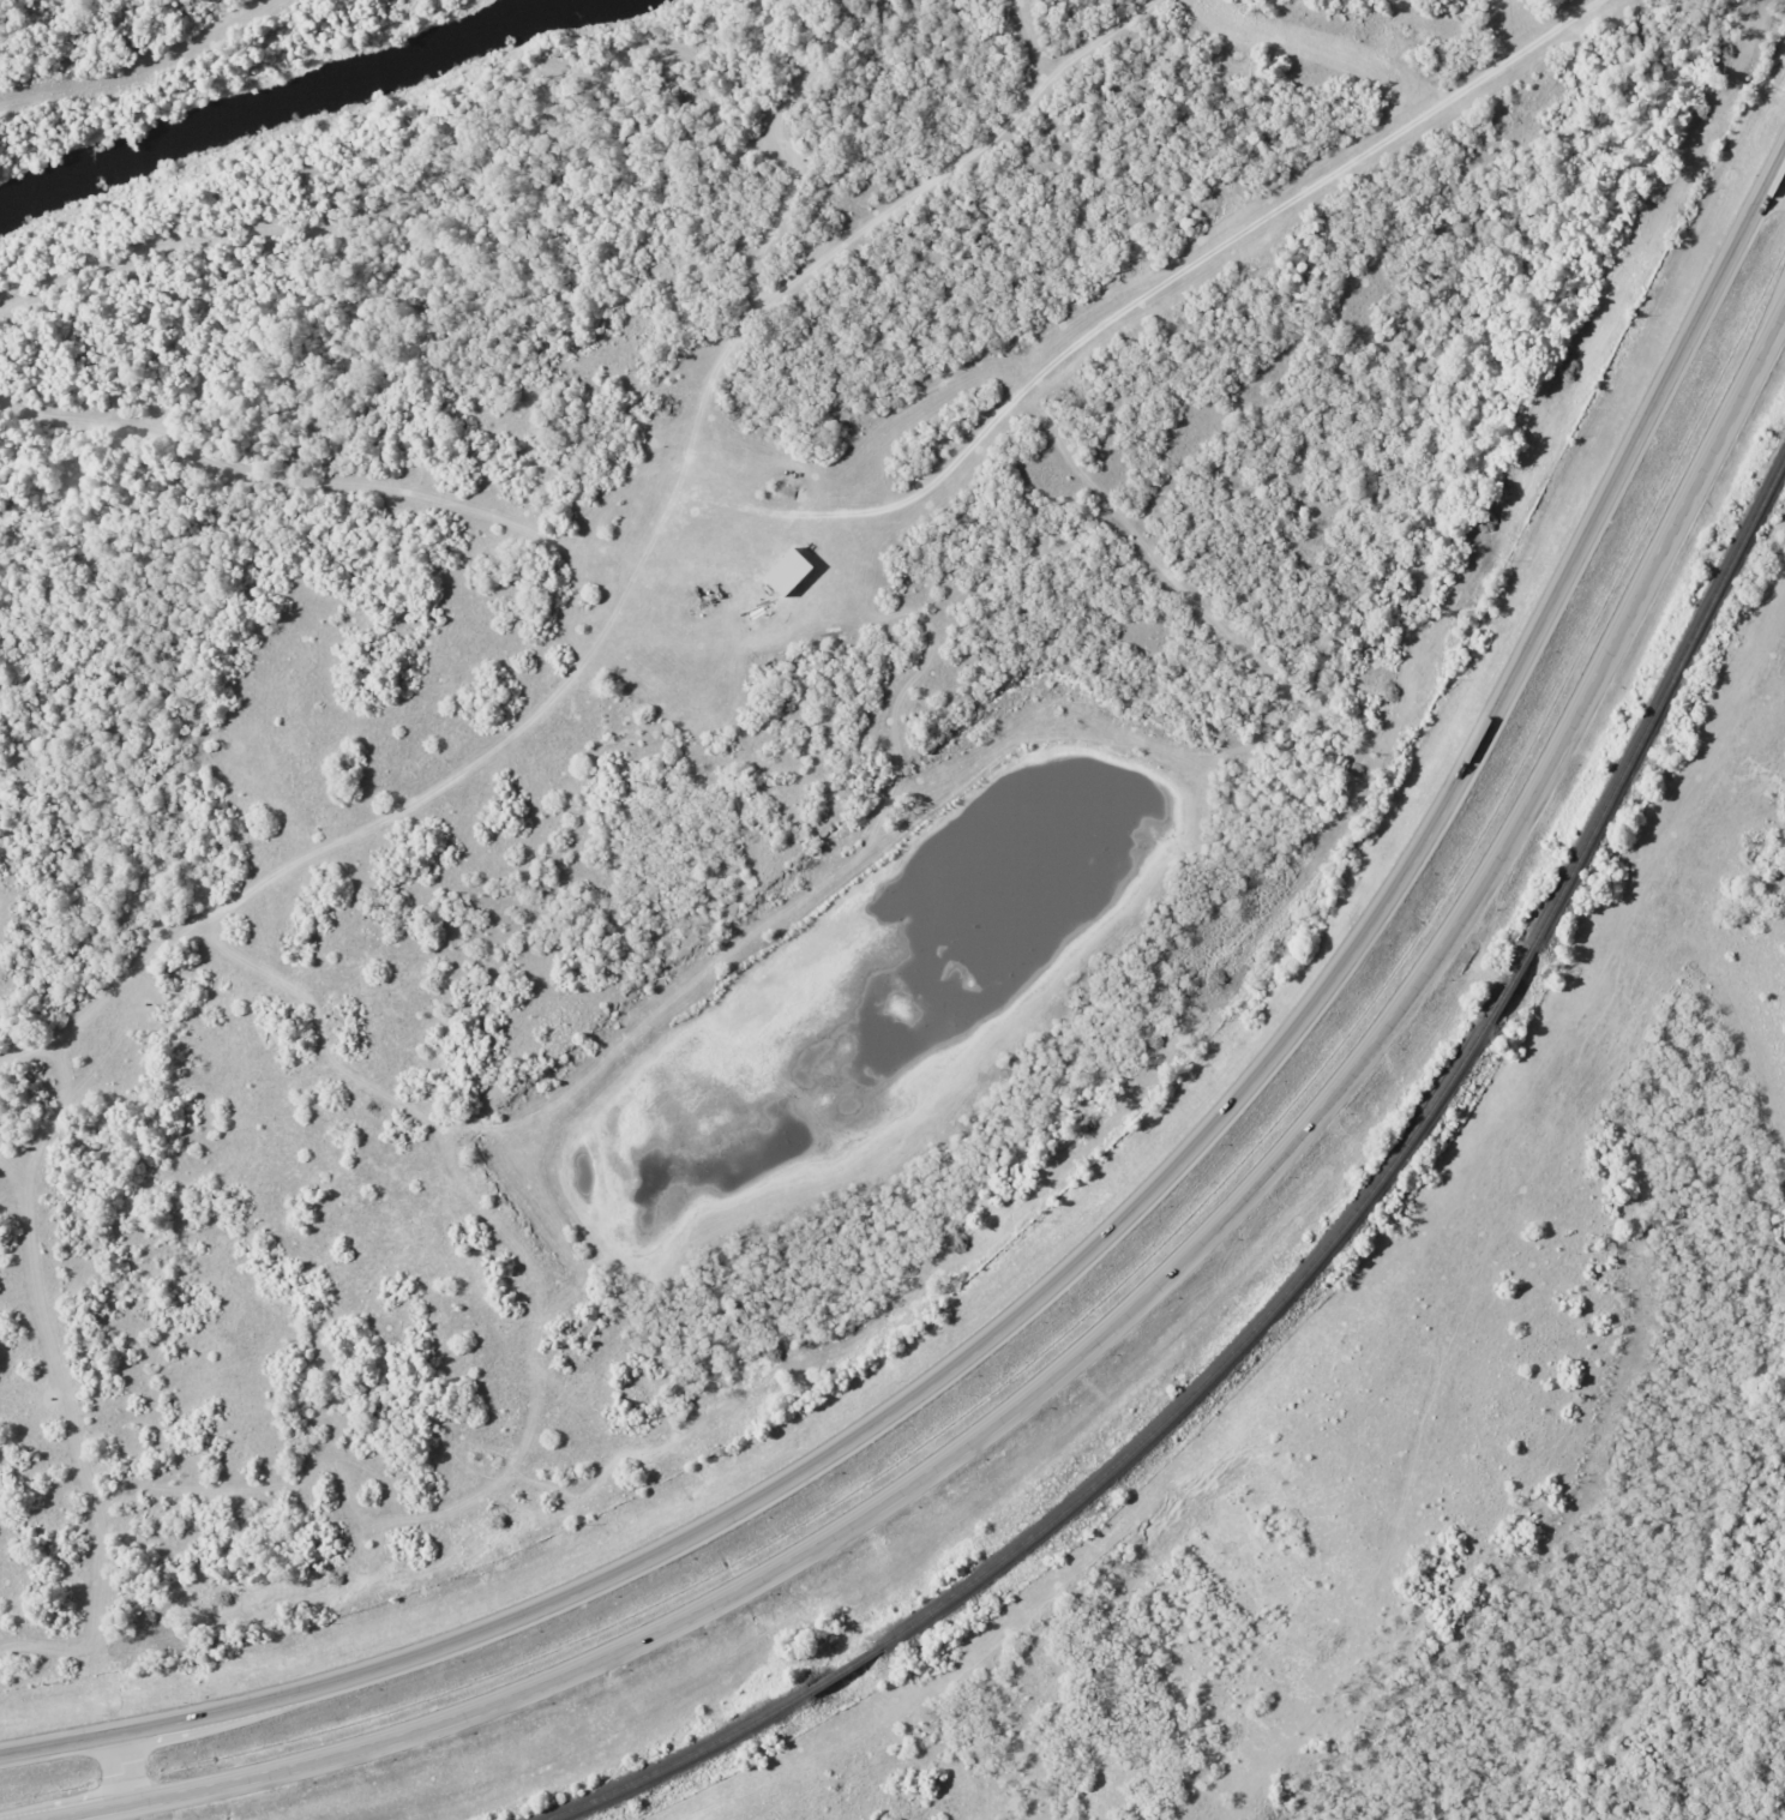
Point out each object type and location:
river: (286, 102)
road: (1779, 178)
road: (1119, 1220)
railway: (1306, 1278)
road: (1142, 1315)
road: (133, 1773)

